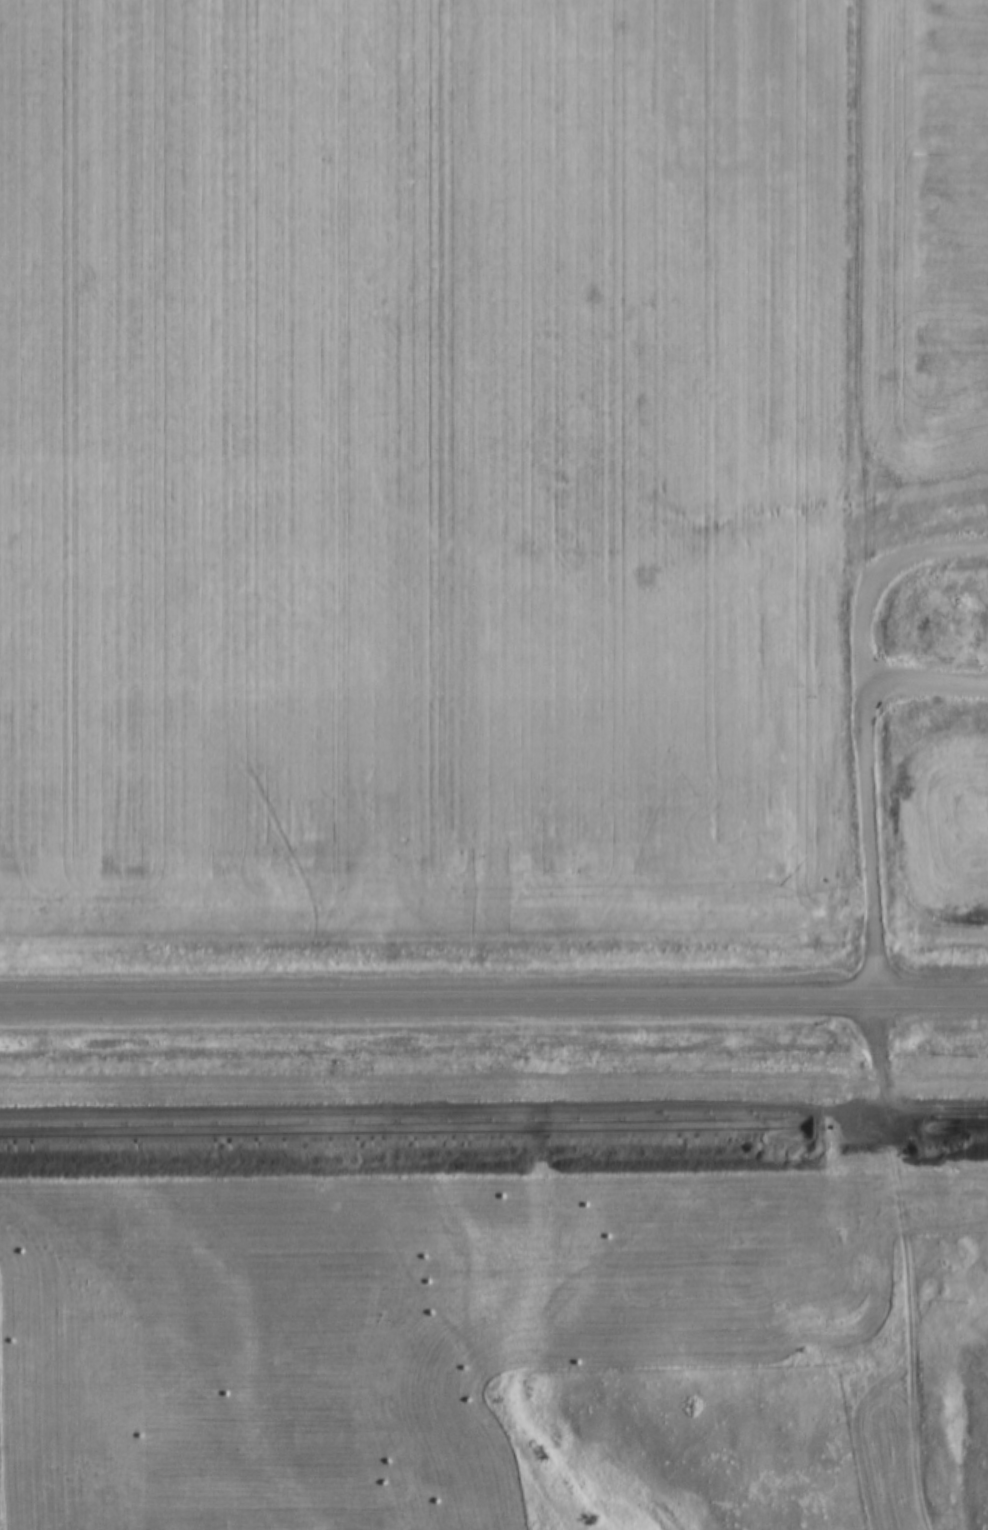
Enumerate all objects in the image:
road: (868, 766)
road: (493, 1002)

